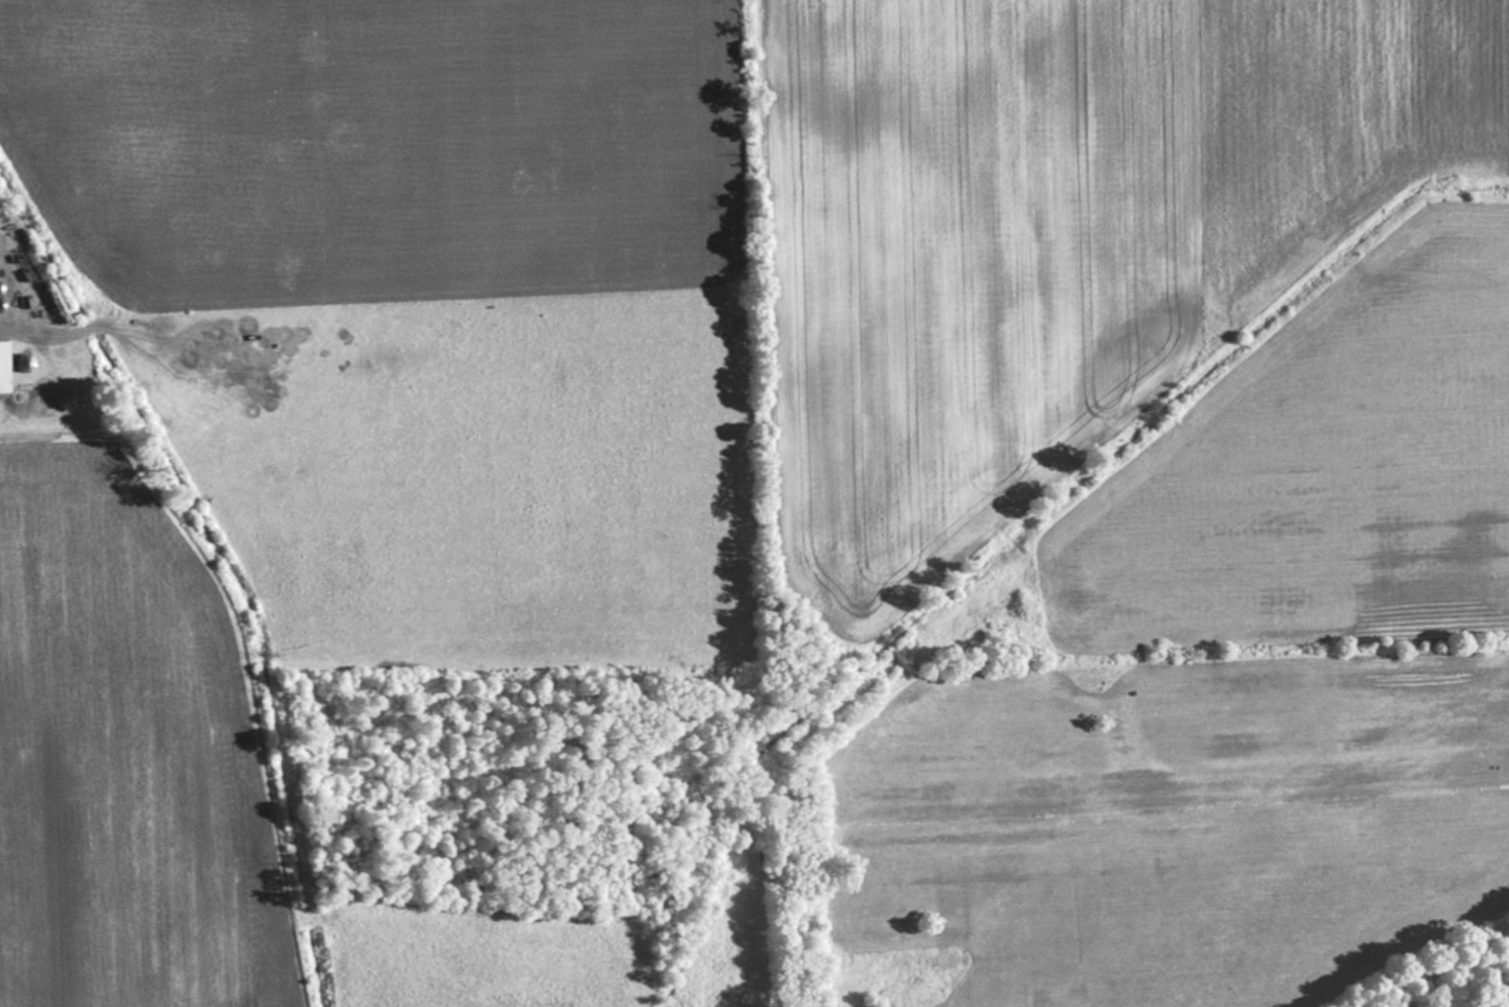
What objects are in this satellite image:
building: (4, 367)

